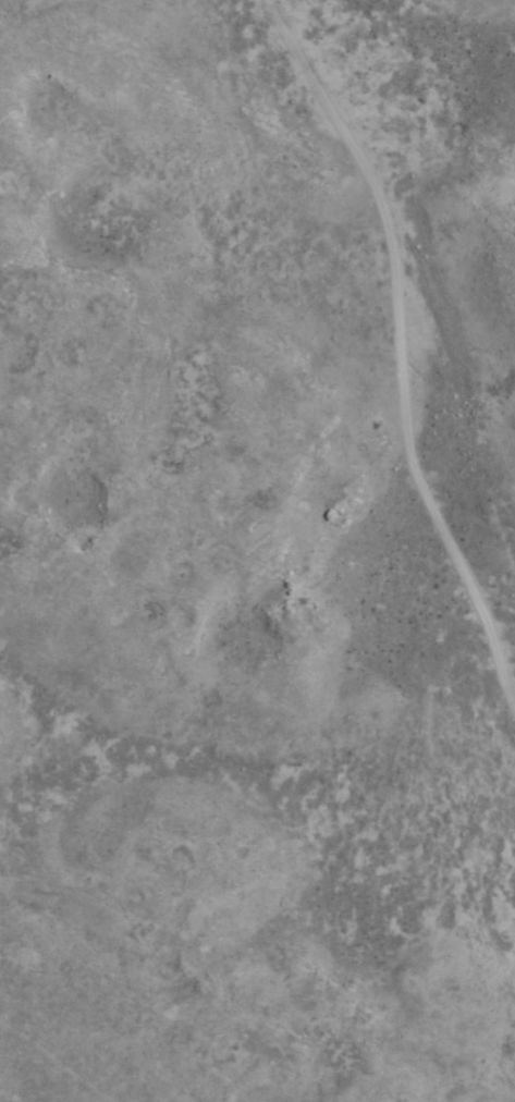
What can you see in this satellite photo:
road: (394, 346)

